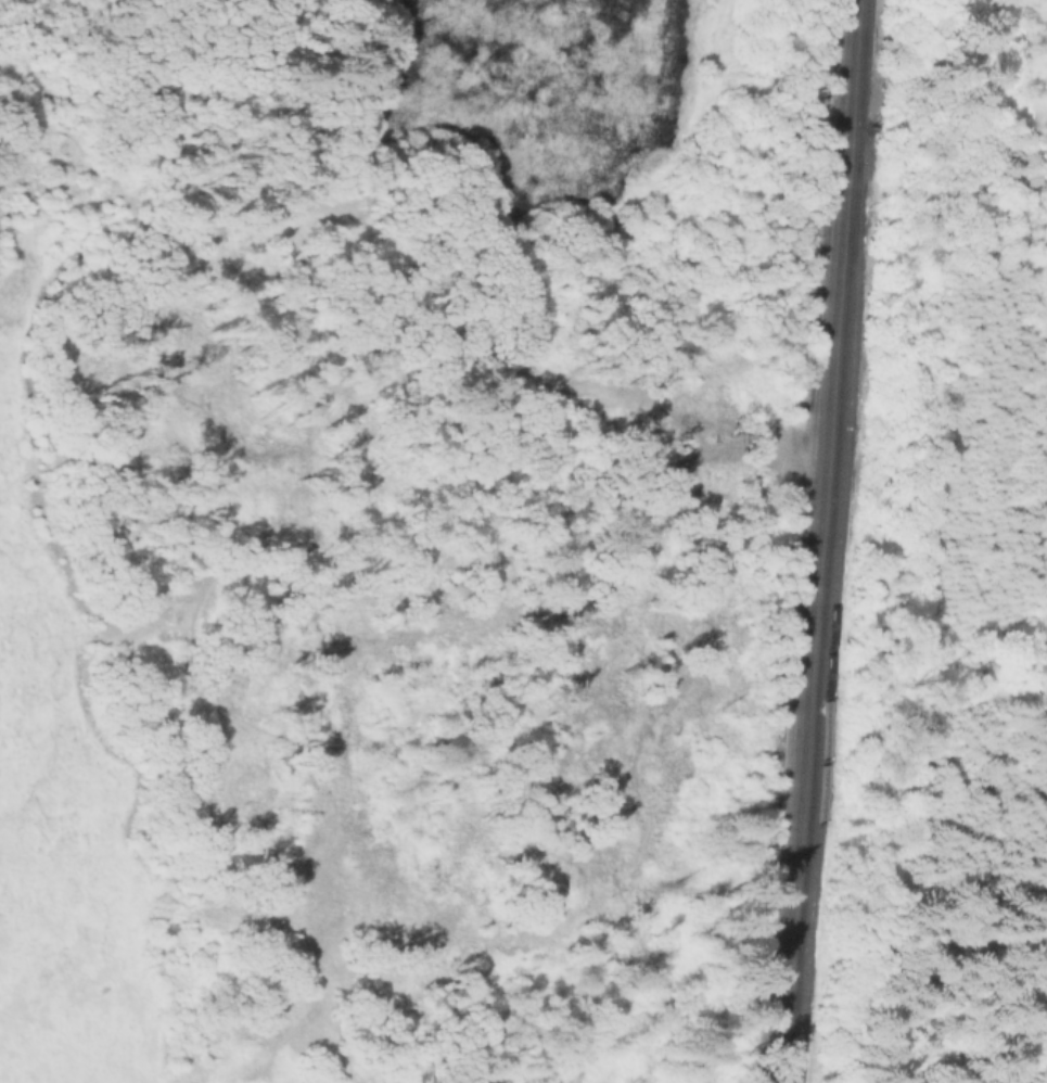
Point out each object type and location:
railway: (850, 67)
road: (117, 73)
railway: (864, 80)
road: (345, 92)
road: (48, 133)
road: (93, 162)
road: (659, 469)
railway: (810, 609)
railway: (822, 622)
railway: (832, 622)
road: (192, 626)
road: (140, 629)

